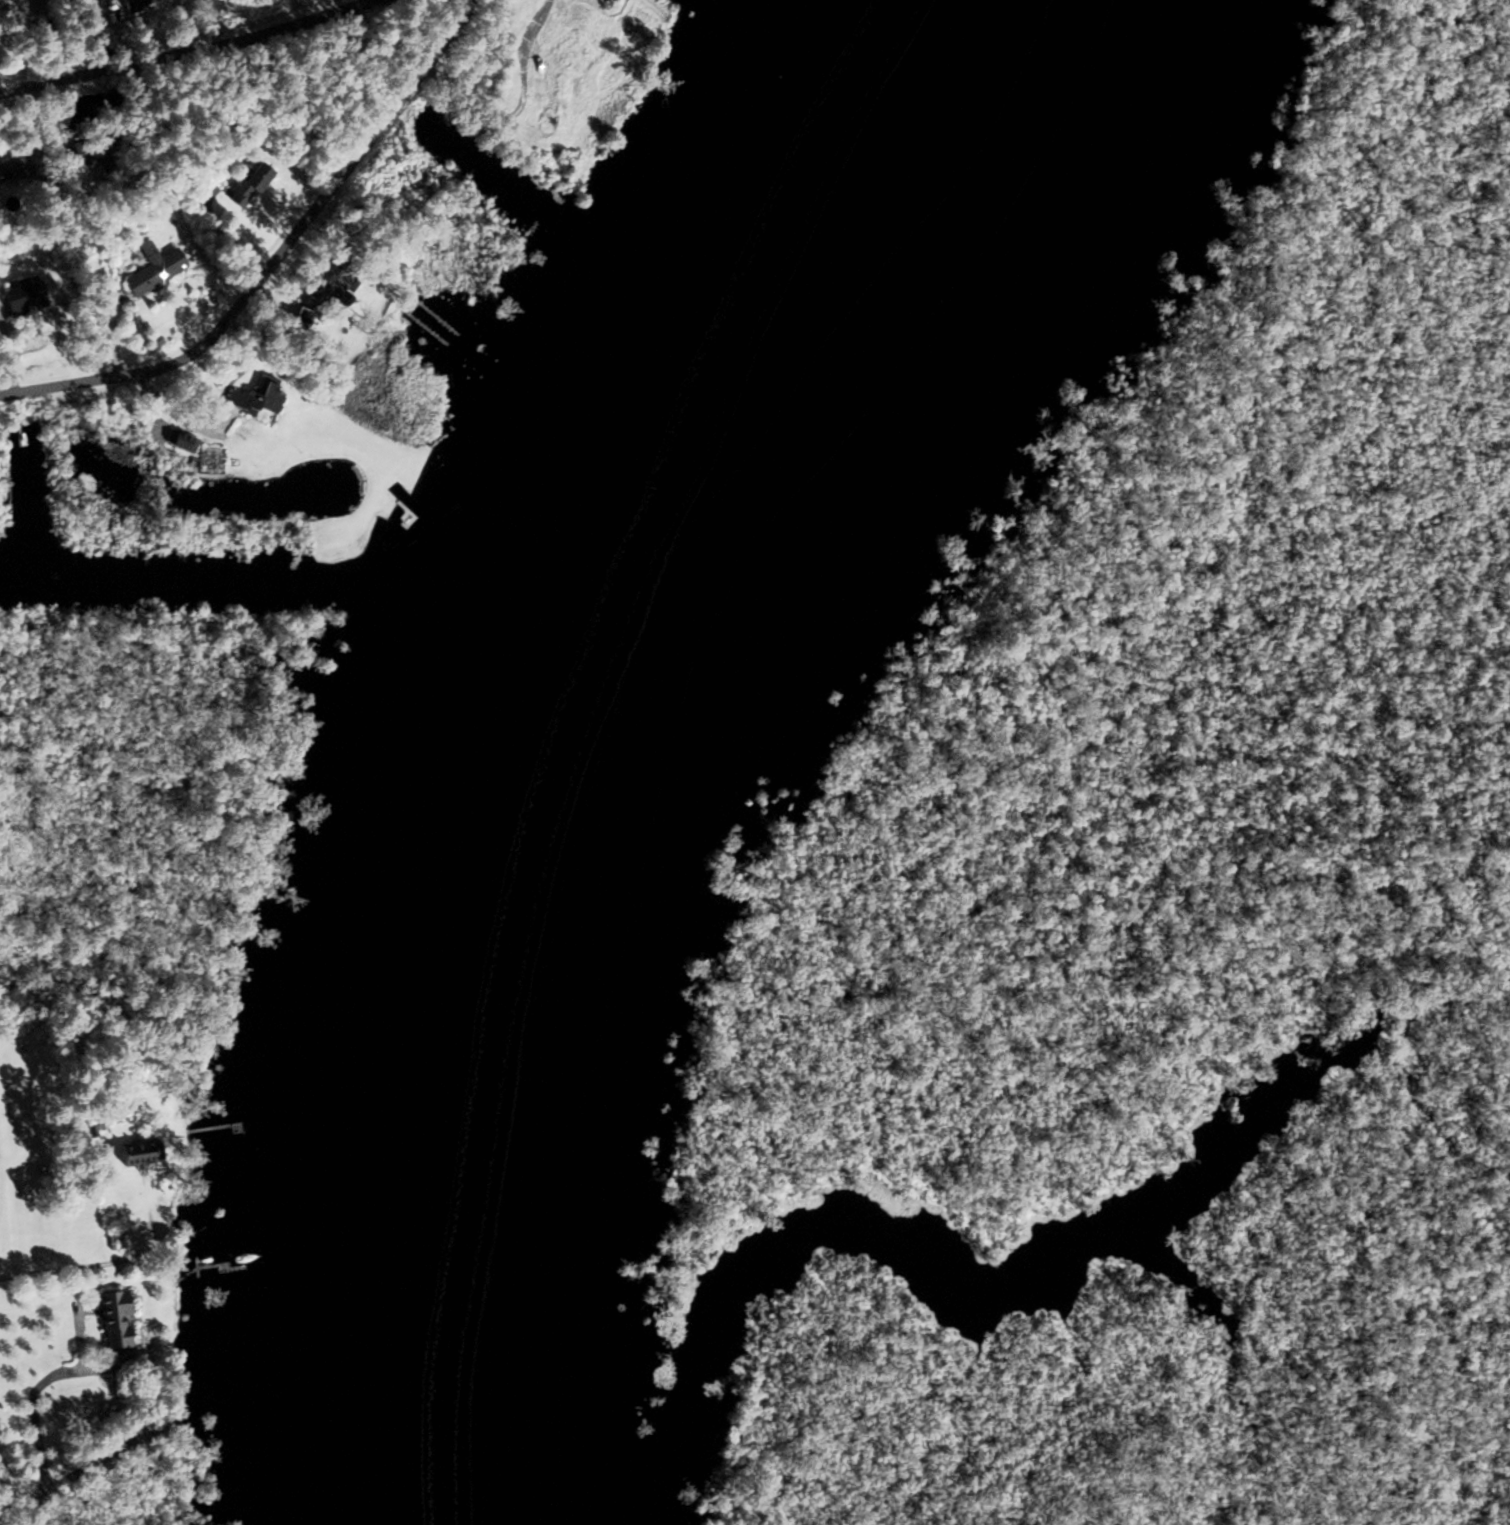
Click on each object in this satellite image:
building: (605, 2)
building: (136, 3)
road: (152, 28)
road: (192, 49)
building: (96, 151)
building: (14, 169)
building: (246, 186)
road: (275, 258)
building: (151, 270)
building: (331, 286)
building: (20, 299)
building: (254, 401)
building: (180, 442)
river: (553, 720)
building: (138, 1153)
road: (59, 1267)
building: (112, 1320)
road: (31, 1407)
road: (80, 1472)
road: (7, 1493)

